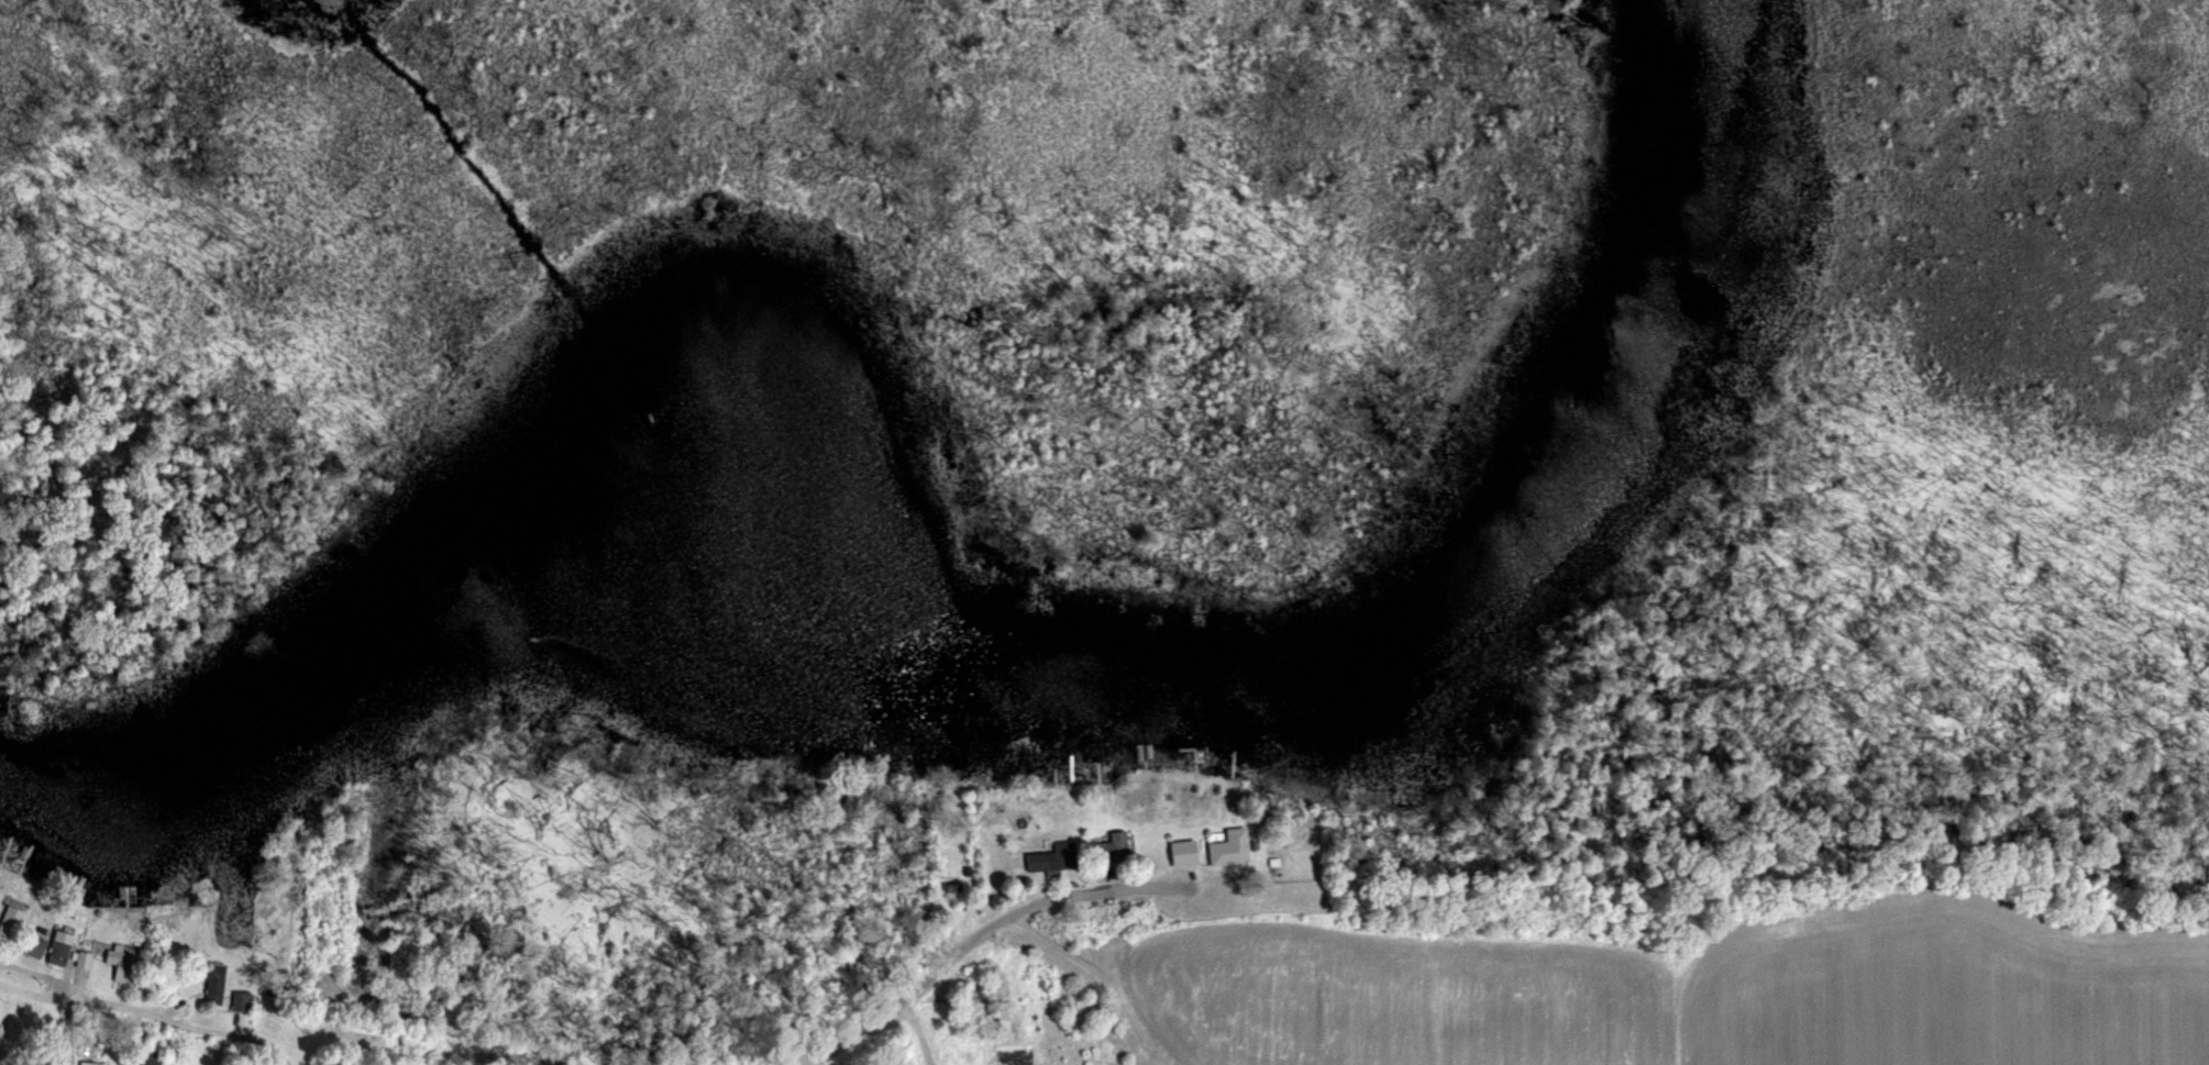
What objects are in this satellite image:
building: (1229, 846)
building: (1108, 848)
building: (1184, 853)
building: (1056, 857)
road: (967, 938)
building: (36, 944)
building: (64, 946)
road: (1097, 970)
building: (216, 983)
building: (243, 1001)
road: (155, 1013)
building: (60, 1051)
building: (152, 1057)
building: (91, 1063)

